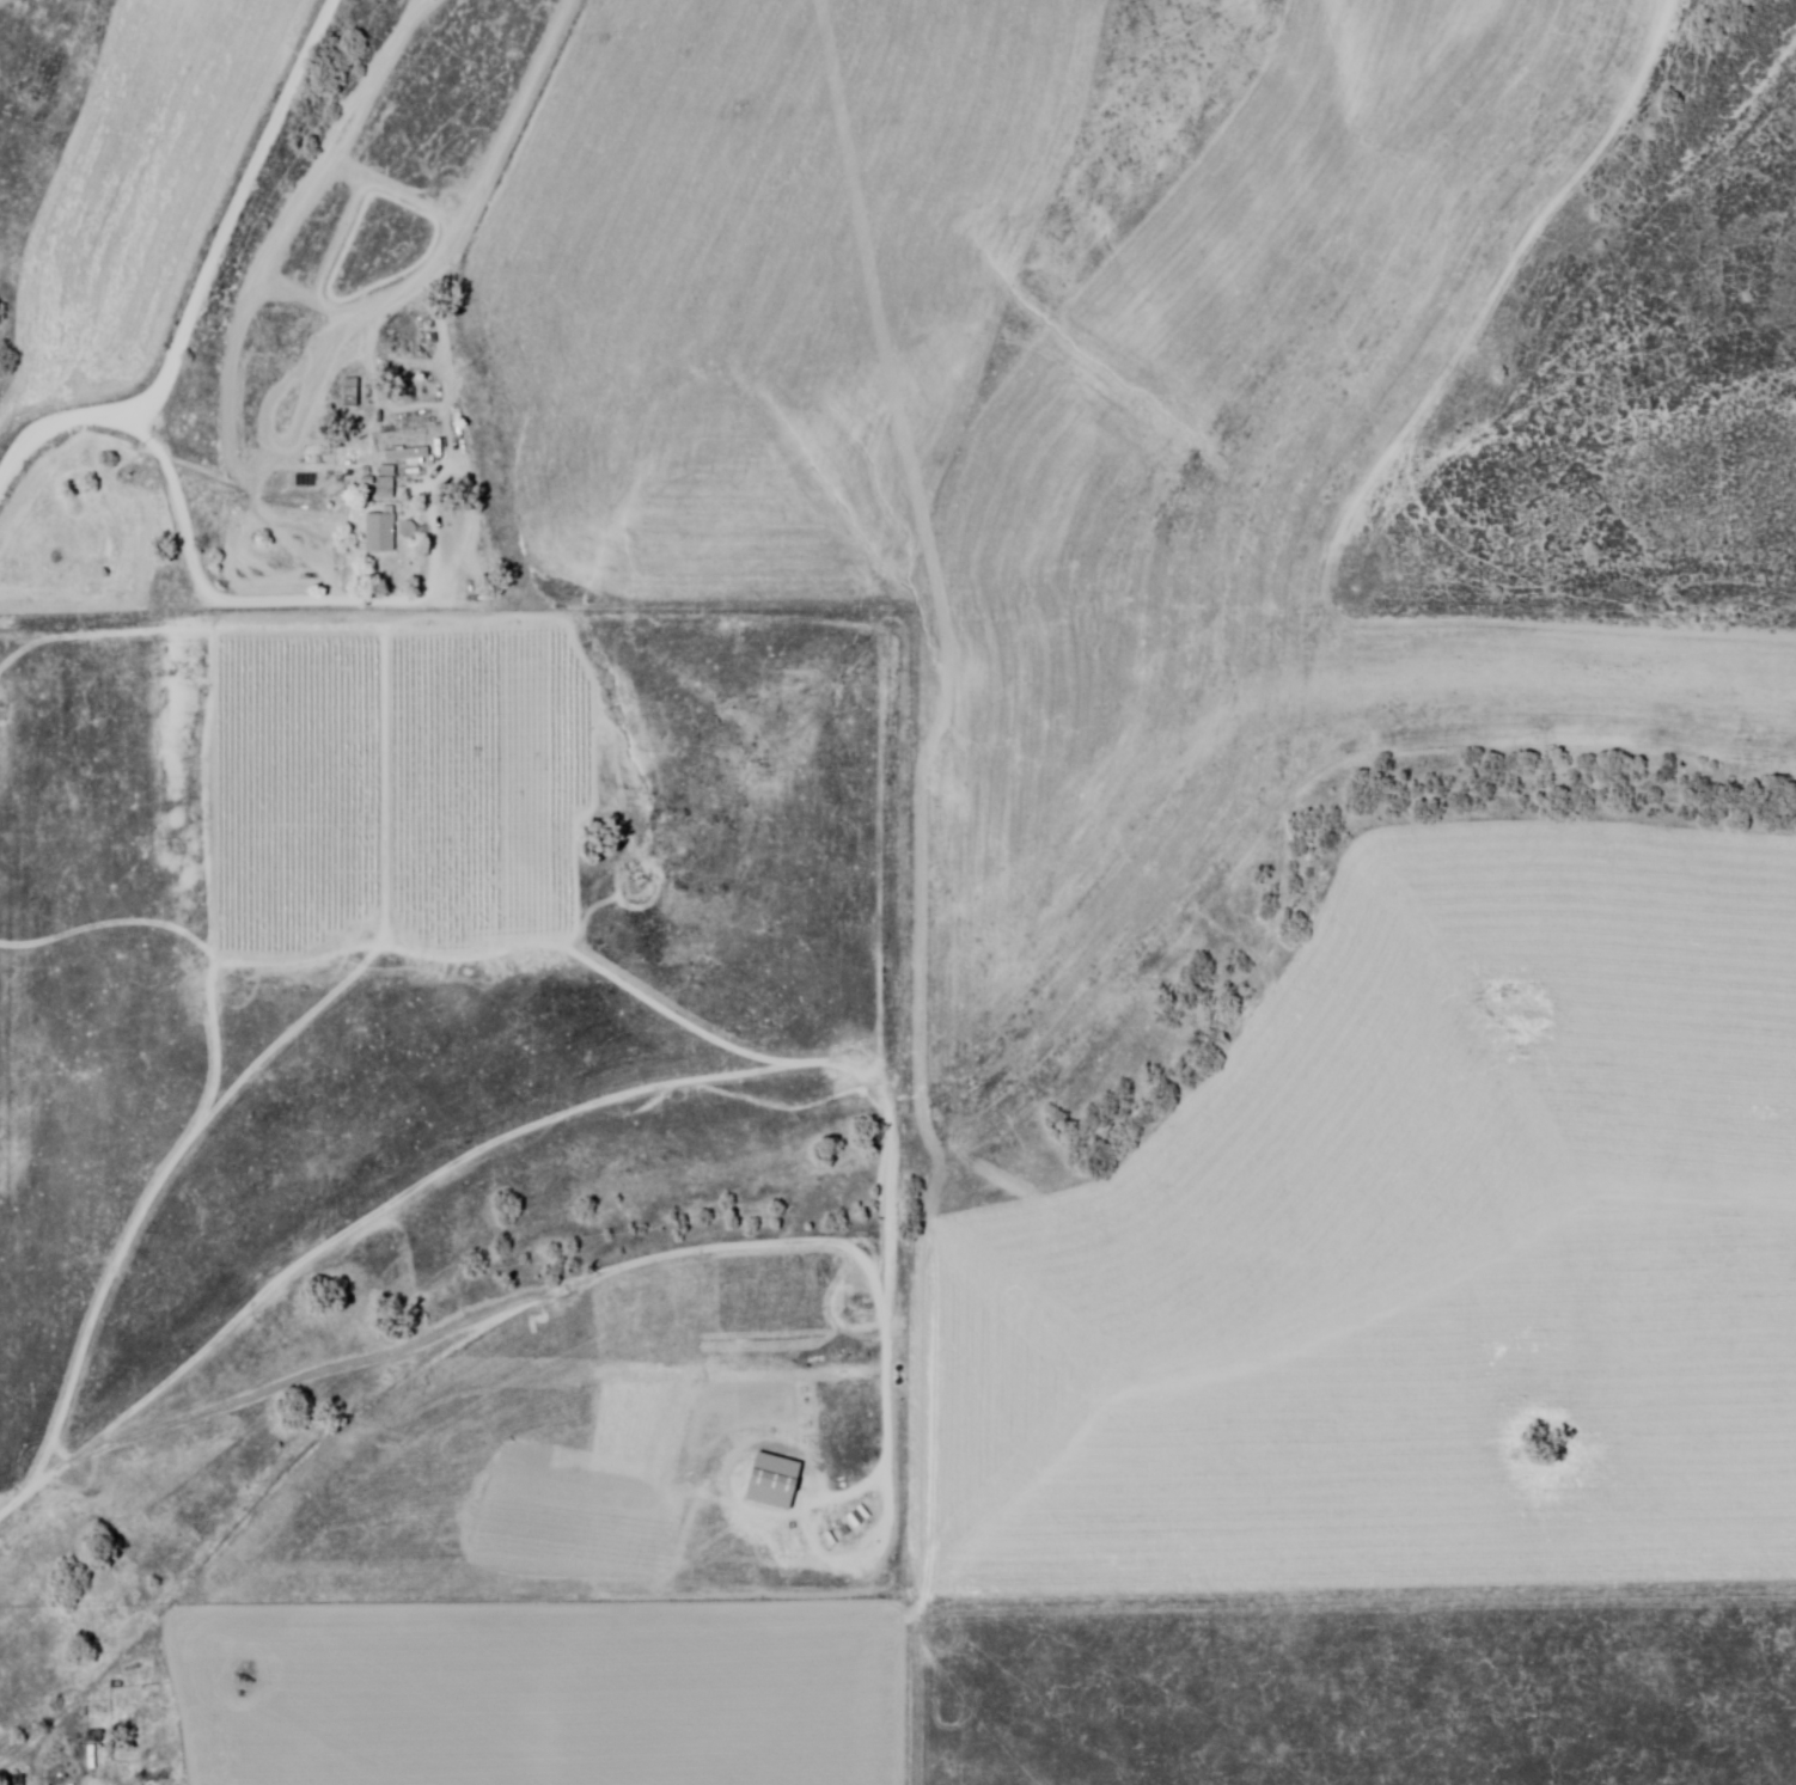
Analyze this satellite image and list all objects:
road: (208, 210)
building: (349, 392)
road: (43, 429)
building: (404, 456)
building: (383, 482)
building: (378, 532)
road: (219, 601)

